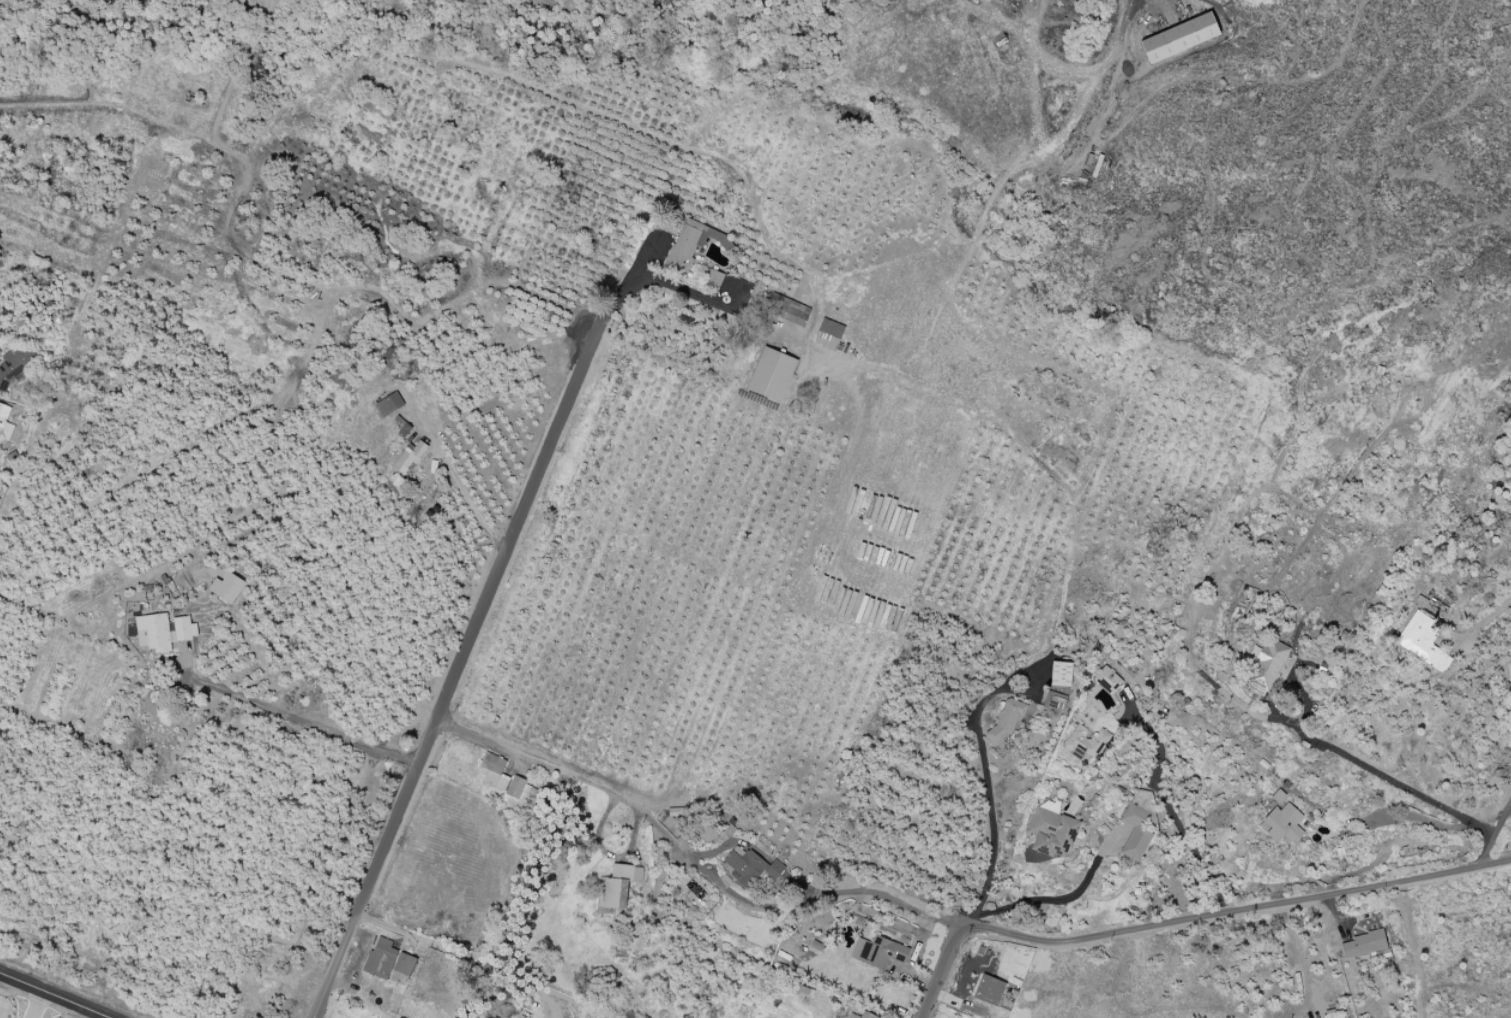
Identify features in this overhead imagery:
building: (1180, 38)
road: (460, 62)
building: (684, 245)
road: (629, 276)
building: (715, 279)
road: (691, 296)
building: (793, 312)
building: (829, 334)
building: (13, 366)
building: (772, 375)
building: (390, 404)
building: (3, 422)
building: (404, 428)
building: (0, 458)
building: (411, 458)
road: (460, 484)
building: (226, 587)
road: (1487, 618)
building: (165, 633)
building: (1420, 635)
road: (457, 666)
building: (1267, 667)
building: (1060, 674)
building: (1109, 680)
road: (297, 720)
building: (1178, 720)
building: (1007, 721)
building: (1086, 743)
building: (496, 774)
road: (1385, 775)
building: (520, 788)
road: (1172, 813)
road: (1400, 815)
building: (1287, 823)
road: (1496, 831)
building: (707, 832)
building: (1053, 833)
building: (1137, 834)
road: (691, 856)
building: (750, 865)
road: (989, 880)
building: (618, 887)
road: (1064, 899)
road: (1237, 907)
building: (1365, 944)
building: (884, 954)
building: (380, 960)
building: (405, 965)
road: (485, 965)
building: (988, 990)
road: (52, 996)
road: (40, 1005)
building: (866, 1015)

